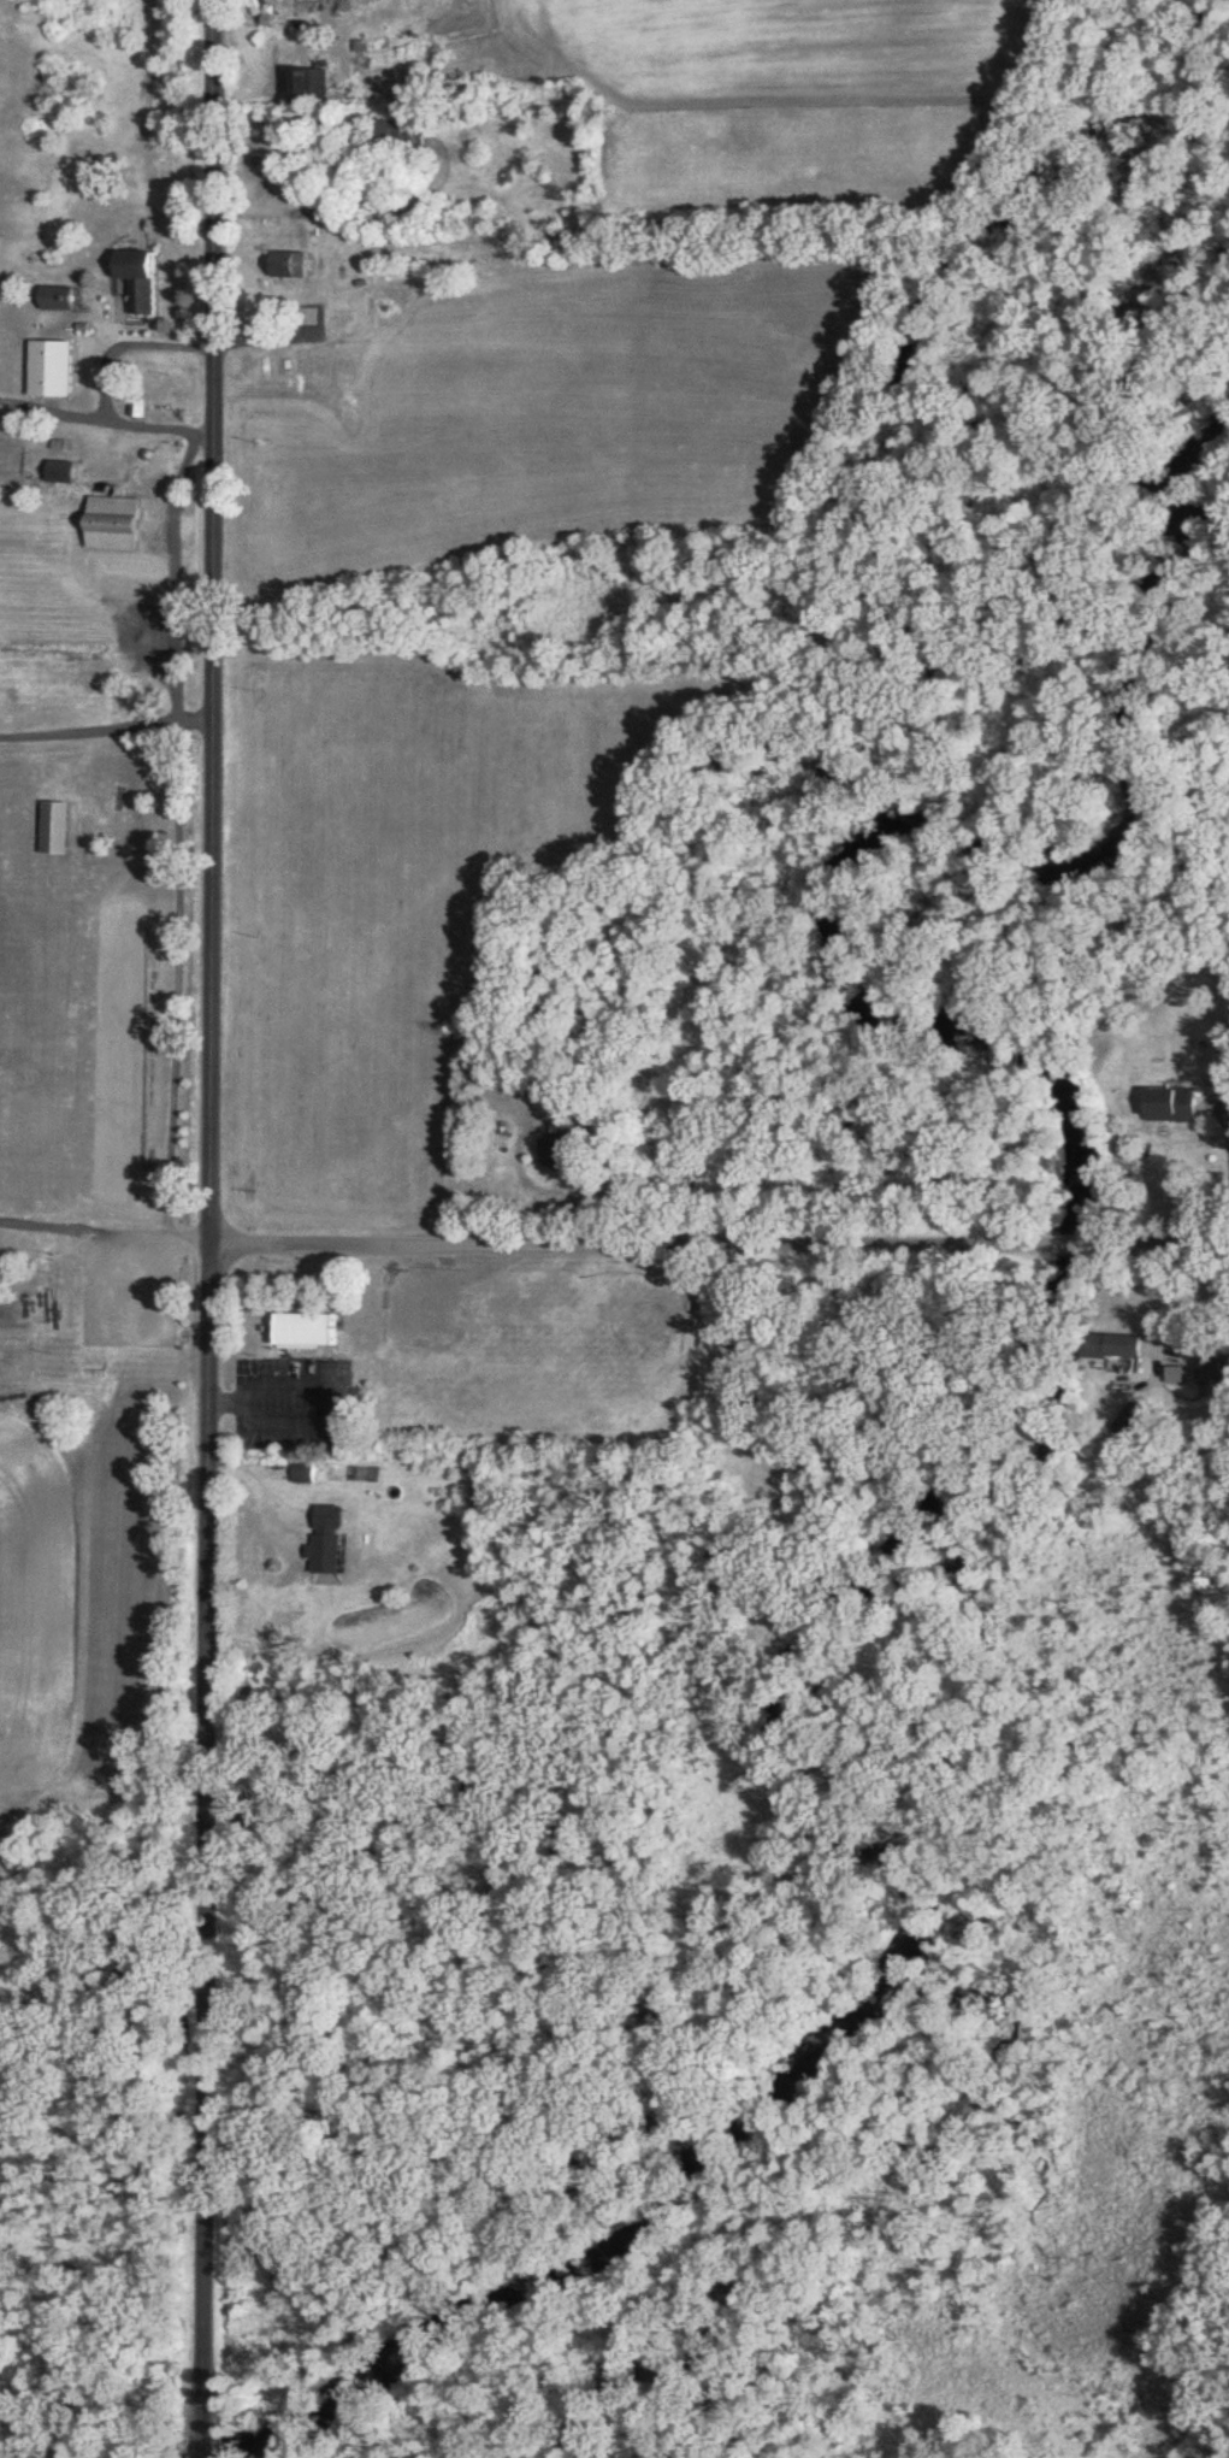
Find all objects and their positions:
building: (280, 11)
building: (308, 83)
building: (397, 132)
building: (300, 149)
building: (288, 263)
building: (137, 277)
road: (125, 343)
building: (81, 355)
road: (105, 420)
building: (59, 470)
building: (111, 523)
road: (106, 727)
building: (1218, 1074)
building: (1170, 1104)
road: (1225, 1120)
building: (549, 1153)
road: (213, 1228)
road: (106, 1232)
road: (721, 1245)
building: (303, 1327)
building: (1111, 1345)
building: (1212, 1371)
building: (300, 1469)
building: (326, 1537)

